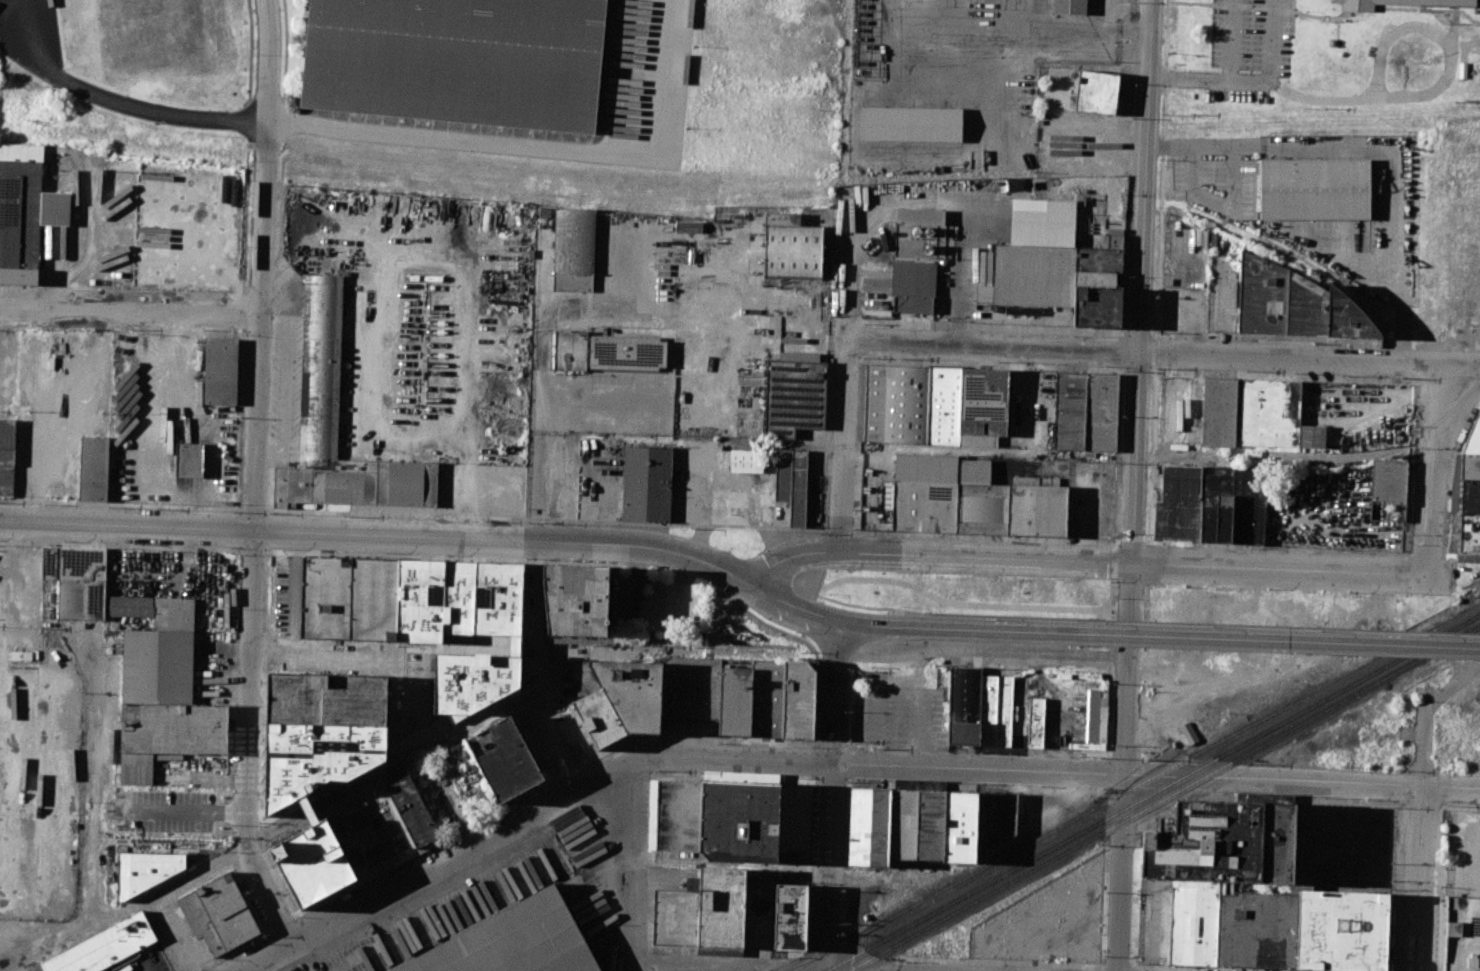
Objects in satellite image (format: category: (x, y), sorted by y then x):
building: (1399, 3)
building: (1069, 6)
road: (1024, 14)
road: (1086, 33)
parking lot: (31, 36)
road: (1233, 40)
road: (1272, 41)
parking lot: (1249, 48)
road: (251, 54)
building: (457, 60)
parking lot: (970, 78)
parking lot: (644, 83)
road: (933, 84)
building: (1081, 90)
road: (1384, 98)
road: (246, 123)
building: (912, 123)
road: (385, 132)
road: (1371, 145)
road: (1160, 169)
parking lot: (1219, 185)
building: (1315, 189)
building: (26, 206)
road: (244, 217)
building: (782, 218)
parking lot: (1365, 229)
parking lot: (947, 239)
building: (1114, 240)
road: (436, 246)
building: (573, 249)
building: (792, 250)
building: (1034, 275)
building: (19, 276)
road: (1142, 281)
building: (913, 285)
building: (1097, 287)
building: (1261, 295)
road: (638, 300)
parking lot: (678, 302)
building: (1305, 306)
building: (1023, 310)
road: (241, 311)
road: (129, 316)
building: (1347, 317)
parking lot: (410, 324)
building: (569, 350)
building: (625, 352)
road: (1151, 353)
road: (1164, 358)
building: (321, 366)
building: (220, 370)
road: (240, 371)
building: (793, 396)
building: (983, 402)
building: (896, 403)
building: (943, 405)
building: (1070, 410)
building: (1101, 412)
building: (1218, 412)
building: (1267, 412)
road: (845, 435)
building: (1312, 436)
building: (1473, 438)
parking lot: (563, 442)
building: (7, 455)
road: (1151, 456)
building: (189, 459)
building: (746, 460)
building: (1470, 466)
building: (94, 468)
building: (926, 468)
road: (1433, 469)
building: (974, 470)
road: (253, 474)
building: (1388, 480)
building: (792, 481)
building: (646, 483)
road: (564, 486)
parking lot: (480, 488)
building: (1469, 496)
road: (737, 503)
building: (1178, 504)
building: (1216, 505)
building: (1248, 505)
building: (925, 506)
building: (982, 508)
building: (1037, 510)
building: (1468, 536)
road: (380, 537)
road: (1113, 538)
road: (1131, 538)
road: (1146, 538)
road: (936, 555)
road: (1113, 562)
road: (1147, 564)
road: (1280, 570)
building: (75, 581)
road: (1112, 593)
building: (326, 597)
building: (459, 597)
building: (498, 598)
building: (374, 599)
building: (576, 599)
building: (624, 599)
building: (420, 601)
road: (956, 602)
road: (924, 610)
road: (1145, 617)
road: (1284, 627)
road: (917, 628)
road: (1111, 629)
railway: (1457, 634)
road: (1284, 641)
building: (491, 644)
road: (982, 651)
road: (1111, 655)
road: (372, 660)
road: (544, 670)
building: (473, 681)
building: (691, 687)
building: (632, 692)
building: (165, 694)
road: (878, 696)
building: (767, 698)
building: (327, 699)
building: (798, 699)
building: (735, 701)
building: (964, 704)
road: (920, 709)
road: (1109, 709)
building: (995, 710)
road: (875, 717)
building: (1095, 717)
building: (599, 718)
building: (1035, 722)
building: (1188, 733)
building: (317, 757)
building: (504, 758)
road: (829, 762)
road: (1124, 766)
road: (1107, 772)
road: (834, 778)
railway: (9, 784)
railway: (1134, 785)
road: (1107, 788)
road: (1122, 791)
road: (97, 792)
railway: (1152, 792)
road: (833, 795)
railway: (1163, 798)
road: (1349, 801)
road: (1107, 802)
road: (1431, 808)
road: (1475, 808)
building: (412, 811)
road: (177, 812)
building: (675, 814)
building: (738, 817)
building: (995, 817)
building: (794, 818)
building: (902, 824)
building: (930, 825)
building: (868, 827)
building: (959, 827)
road: (1421, 830)
road: (275, 831)
road: (1469, 841)
building: (1205, 843)
building: (1275, 843)
building: (1301, 861)
road: (691, 862)
building: (313, 863)
road: (632, 866)
road: (789, 868)
building: (144, 871)
building: (720, 906)
building: (221, 914)
building: (759, 914)
building: (790, 916)
building: (675, 918)
building: (1192, 921)
building: (1255, 929)
building: (1341, 929)
building: (1460, 934)
building: (518, 942)
road: (1132, 945)
building: (104, 946)
road: (641, 948)
road: (1103, 962)
road: (1131, 962)
road: (1117, 963)
building: (35, 968)
road: (1098, 968)
road: (1135, 968)
road: (710, 969)
road: (1098, 970)
road: (1134, 970)

